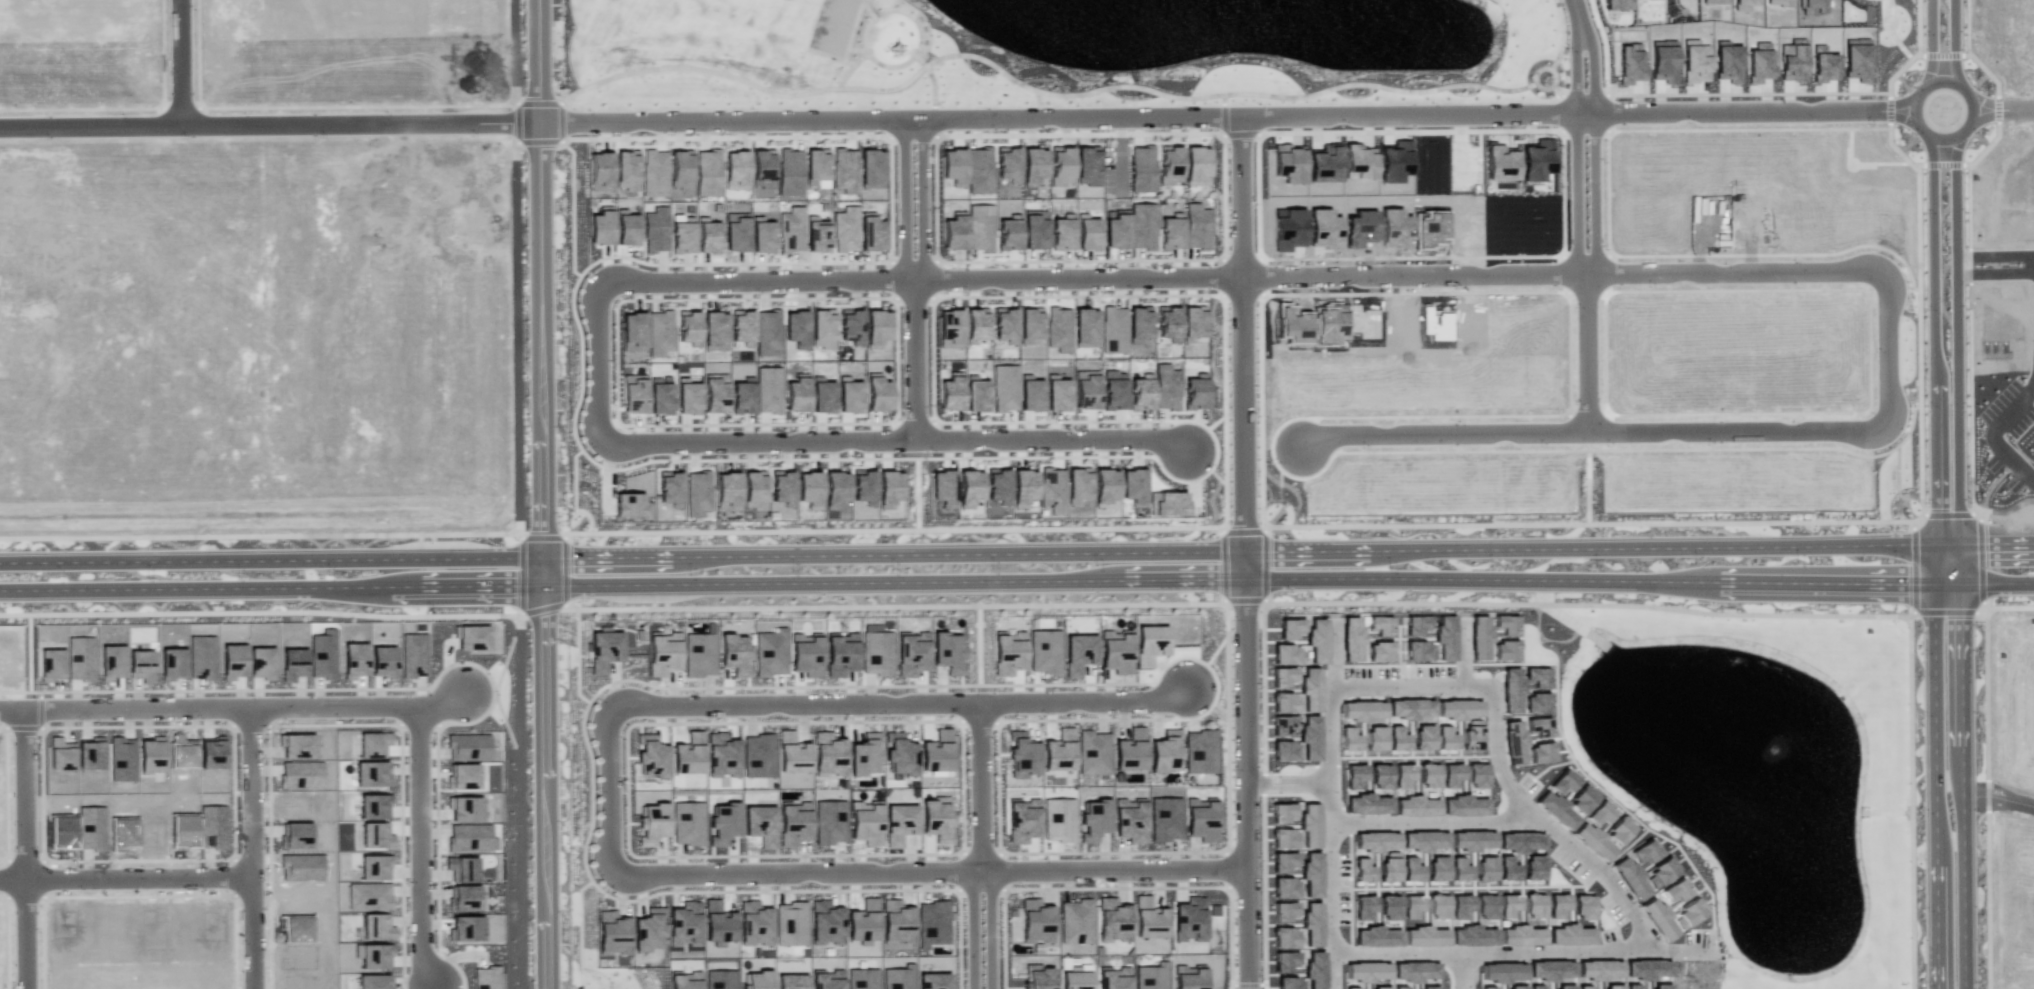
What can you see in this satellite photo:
building: (1713, 1)
building: (1777, 3)
building: (1616, 4)
building: (1743, 4)
building: (1811, 7)
road: (1931, 40)
road: (1953, 40)
road: (1585, 57)
building: (1856, 59)
building: (1792, 60)
building: (1663, 61)
building: (1694, 61)
building: (1727, 62)
building: (1758, 63)
road: (180, 64)
building: (1823, 64)
building: (1628, 65)
road: (1973, 110)
road: (2003, 112)
road: (1224, 119)
road: (268, 127)
building: (1536, 159)
building: (1358, 161)
building: (1394, 161)
building: (1500, 162)
building: (1288, 163)
building: (1323, 163)
building: (1007, 164)
building: (1086, 165)
building: (1169, 165)
building: (953, 166)
building: (1033, 166)
building: (1195, 166)
building: (816, 167)
building: (626, 168)
building: (680, 168)
building: (762, 168)
building: (871, 169)
building: (1142, 169)
building: (736, 170)
building: (980, 170)
building: (600, 171)
building: (845, 171)
building: (654, 173)
building: (708, 173)
building: (790, 173)
building: (1061, 174)
road: (1953, 198)
building: (601, 226)
building: (1142, 226)
building: (1196, 226)
building: (980, 227)
building: (626, 228)
building: (1359, 228)
building: (1394, 228)
building: (791, 229)
building: (845, 229)
building: (1034, 229)
building: (1115, 229)
building: (1287, 229)
building: (1323, 229)
building: (655, 230)
building: (1086, 230)
building: (871, 232)
building: (954, 232)
building: (1171, 232)
building: (682, 234)
building: (736, 234)
building: (816, 234)
building: (1008, 234)
building: (1062, 234)
building: (708, 236)
building: (764, 239)
road: (1993, 257)
road: (1737, 271)
road: (1587, 273)
road: (1993, 274)
road: (1413, 276)
road: (919, 284)
road: (1079, 285)
road: (760, 292)
building: (765, 322)
building: (1138, 323)
building: (1193, 323)
building: (1029, 324)
building: (1167, 324)
building: (975, 325)
building: (1293, 325)
building: (1328, 325)
building: (742, 326)
building: (850, 326)
building: (1003, 326)
building: (687, 327)
building: (716, 328)
building: (796, 328)
building: (876, 328)
building: (822, 329)
building: (949, 329)
building: (1058, 329)
building: (1113, 329)
building: (1087, 330)
building: (633, 331)
building: (660, 332)
road: (1889, 349)
road: (602, 374)
building: (1004, 388)
building: (1085, 389)
building: (1155, 389)
building: (768, 390)
building: (1113, 390)
building: (950, 392)
building: (1195, 392)
building: (634, 393)
building: (877, 393)
building: (1030, 393)
building: (1056, 393)
building: (715, 394)
building: (660, 395)
building: (796, 395)
building: (849, 395)
building: (976, 395)
building: (742, 396)
building: (823, 396)
building: (687, 397)
road: (1739, 430)
road: (1443, 434)
road: (1993, 435)
road: (1058, 448)
road: (762, 451)
building: (1077, 484)
building: (997, 485)
building: (863, 486)
building: (1133, 486)
building: (782, 487)
building: (1023, 487)
building: (1105, 487)
building: (670, 488)
building: (888, 488)
building: (942, 488)
building: (968, 488)
building: (809, 489)
building: (834, 489)
building: (753, 490)
building: (1052, 490)
building: (727, 491)
building: (697, 493)
road: (542, 494)
building: (1167, 504)
building: (632, 505)
road: (1017, 551)
road: (1244, 553)
road: (1930, 564)
road: (980, 581)
road: (1997, 583)
road: (1959, 623)
building: (1504, 624)
building: (1378, 625)
building: (1415, 625)
building: (1289, 628)
building: (471, 637)
building: (1478, 637)
building: (1349, 638)
building: (1444, 638)
building: (1315, 641)
building: (1149, 644)
building: (604, 650)
building: (1504, 650)
building: (876, 651)
building: (1044, 651)
building: (1115, 651)
building: (1378, 651)
building: (1416, 651)
building: (770, 652)
building: (947, 652)
building: (1007, 652)
building: (662, 653)
building: (840, 653)
building: (1078, 653)
building: (323, 654)
building: (700, 654)
building: (734, 654)
building: (806, 654)
building: (910, 654)
building: (1285, 654)
building: (413, 655)
building: (201, 657)
building: (80, 658)
building: (353, 660)
building: (232, 661)
building: (382, 661)
building: (112, 662)
building: (261, 662)
building: (172, 663)
building: (51, 664)
building: (293, 664)
building: (140, 665)
building: (1282, 676)
building: (1536, 677)
road: (1405, 684)
building: (1308, 690)
building: (1510, 690)
road: (11, 702)
road: (139, 702)
building: (1282, 702)
road: (358, 705)
building: (1410, 708)
building: (1458, 709)
building: (1361, 710)
road: (1090, 713)
road: (800, 716)
building: (1282, 725)
road: (1327, 734)
building: (1308, 737)
building: (1471, 737)
building: (1422, 738)
building: (1445, 738)
building: (1348, 739)
building: (1396, 739)
building: (1513, 742)
building: (372, 744)
building: (296, 746)
building: (468, 747)
building: (1130, 750)
building: (182, 751)
building: (1163, 751)
building: (1200, 751)
building: (1283, 751)
building: (211, 752)
building: (936, 752)
building: (1059, 752)
building: (1092, 752)
building: (89, 753)
building: (828, 753)
building: (899, 753)
building: (60, 754)
building: (688, 754)
building: (792, 754)
building: (1022, 754)
building: (150, 755)
building: (721, 755)
building: (758, 755)
building: (864, 755)
building: (651, 757)
building: (122, 759)
building: (371, 773)
building: (300, 774)
building: (1450, 774)
building: (1353, 775)
building: (1401, 775)
building: (1427, 775)
building: (1476, 775)
building: (462, 776)
building: (1379, 776)
road: (1285, 783)
building: (1551, 797)
road: (1997, 800)
road: (616, 801)
building: (1366, 804)
building: (372, 806)
building: (1414, 806)
building: (1463, 806)
building: (464, 809)
building: (1281, 812)
building: (1599, 814)
building: (1164, 818)
building: (936, 819)
building: (1058, 819)
building: (1130, 819)
building: (1201, 819)
building: (1022, 820)
building: (1093, 820)
building: (723, 822)
building: (792, 822)
building: (830, 822)
building: (865, 822)
building: (652, 823)
building: (688, 823)
road: (1433, 823)
building: (899, 824)
building: (759, 825)
building: (1308, 826)
building: (213, 827)
road: (1545, 827)
building: (91, 828)
building: (184, 830)
building: (1618, 830)
building: (63, 831)
building: (123, 832)
building: (375, 835)
building: (295, 836)
building: (470, 838)
building: (1283, 838)
building: (1471, 840)
building: (1374, 841)
building: (1422, 841)
building: (1592, 841)
building: (1518, 842)
road: (25, 845)
road: (253, 845)
road: (419, 848)
road: (985, 852)
building: (1643, 852)
building: (1282, 861)
building: (372, 867)
building: (1388, 867)
building: (300, 868)
building: (1436, 868)
building: (1484, 868)
building: (1533, 868)
building: (461, 869)
road: (1329, 869)
road: (1114, 870)
building: (1362, 870)
building: (1410, 870)
building: (1458, 870)
building: (1660, 873)
building: (1310, 874)
road: (801, 878)
building: (1629, 878)
road: (126, 882)
building: (1284, 888)
building: (1674, 891)
building: (368, 897)
building: (463, 898)
building: (1506, 904)
building: (1410, 905)
building: (1459, 905)
building: (1533, 905)
building: (1556, 905)
building: (1484, 906)
building: (1582, 906)
building: (1362, 907)
building: (1389, 907)
building: (1437, 907)
building: (1283, 911)
building: (1688, 914)
building: (1148, 918)
building: (1189, 919)
building: (1657, 919)
building: (1112, 920)
building: (1035, 921)
building: (1075, 921)
building: (862, 922)
building: (896, 922)
building: (718, 923)
building: (754, 923)
building: (825, 923)
building: (932, 923)
building: (1311, 923)
building: (684, 924)
building: (790, 924)
building: (376, 927)
building: (465, 928)
building: (297, 929)
building: (648, 929)
building: (612, 932)
building: (1472, 935)
building: (1520, 935)
building: (1569, 935)
building: (1424, 936)
building: (1284, 937)
building: (1375, 937)
road: (1518, 953)
building: (372, 955)
building: (1284, 961)
building: (1646, 968)
building: (1549, 969)
building: (1597, 969)
building: (1313, 970)
building: (1365, 971)
building: (1414, 971)
road: (1457, 971)
building: (1500, 972)
road: (1999, 975)
building: (897, 976)
building: (1150, 976)
building: (1037, 977)
building: (1188, 977)
building: (862, 978)
building: (1113, 978)
building: (493, 979)
building: (720, 979)
building: (826, 979)
building: (684, 980)
building: (757, 980)
building: (1075, 980)
building: (373, 981)
building: (933, 981)
building: (790, 982)
building: (1288, 983)
building: (1630, 986)
building: (1661, 986)
building: (1379, 987)
building: (1398, 987)
building: (1427, 987)
building: (1486, 987)
building: (1516, 987)
building: (1533, 987)
building: (1564, 987)
building: (1582, 987)
building: (1612, 987)
building: (1350, 988)

